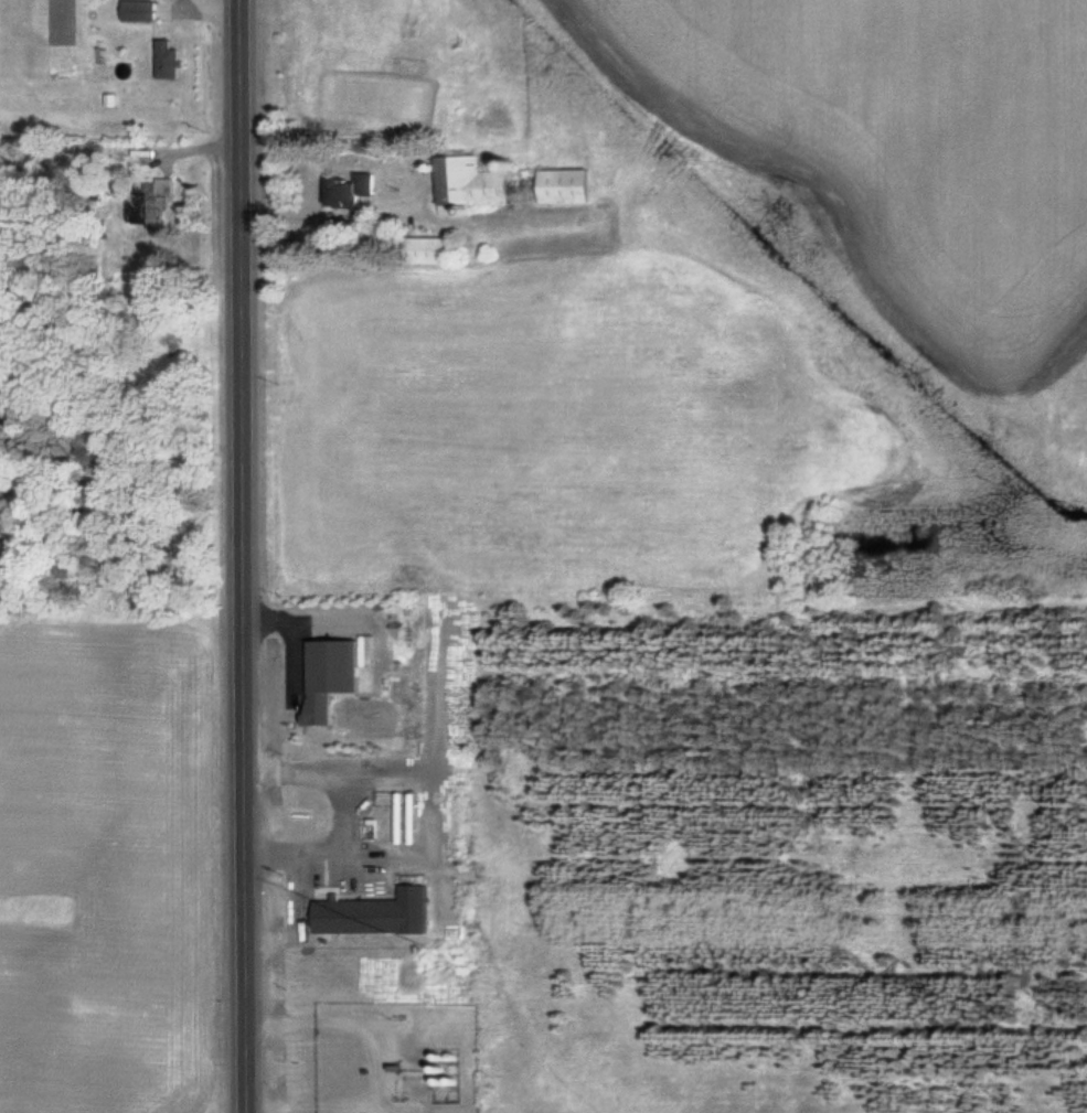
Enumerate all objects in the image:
building: (145, 10)
building: (172, 58)
building: (477, 182)
building: (571, 185)
building: (350, 190)
building: (153, 199)
building: (435, 249)
road: (243, 556)
building: (340, 676)
building: (380, 913)
building: (449, 1077)

